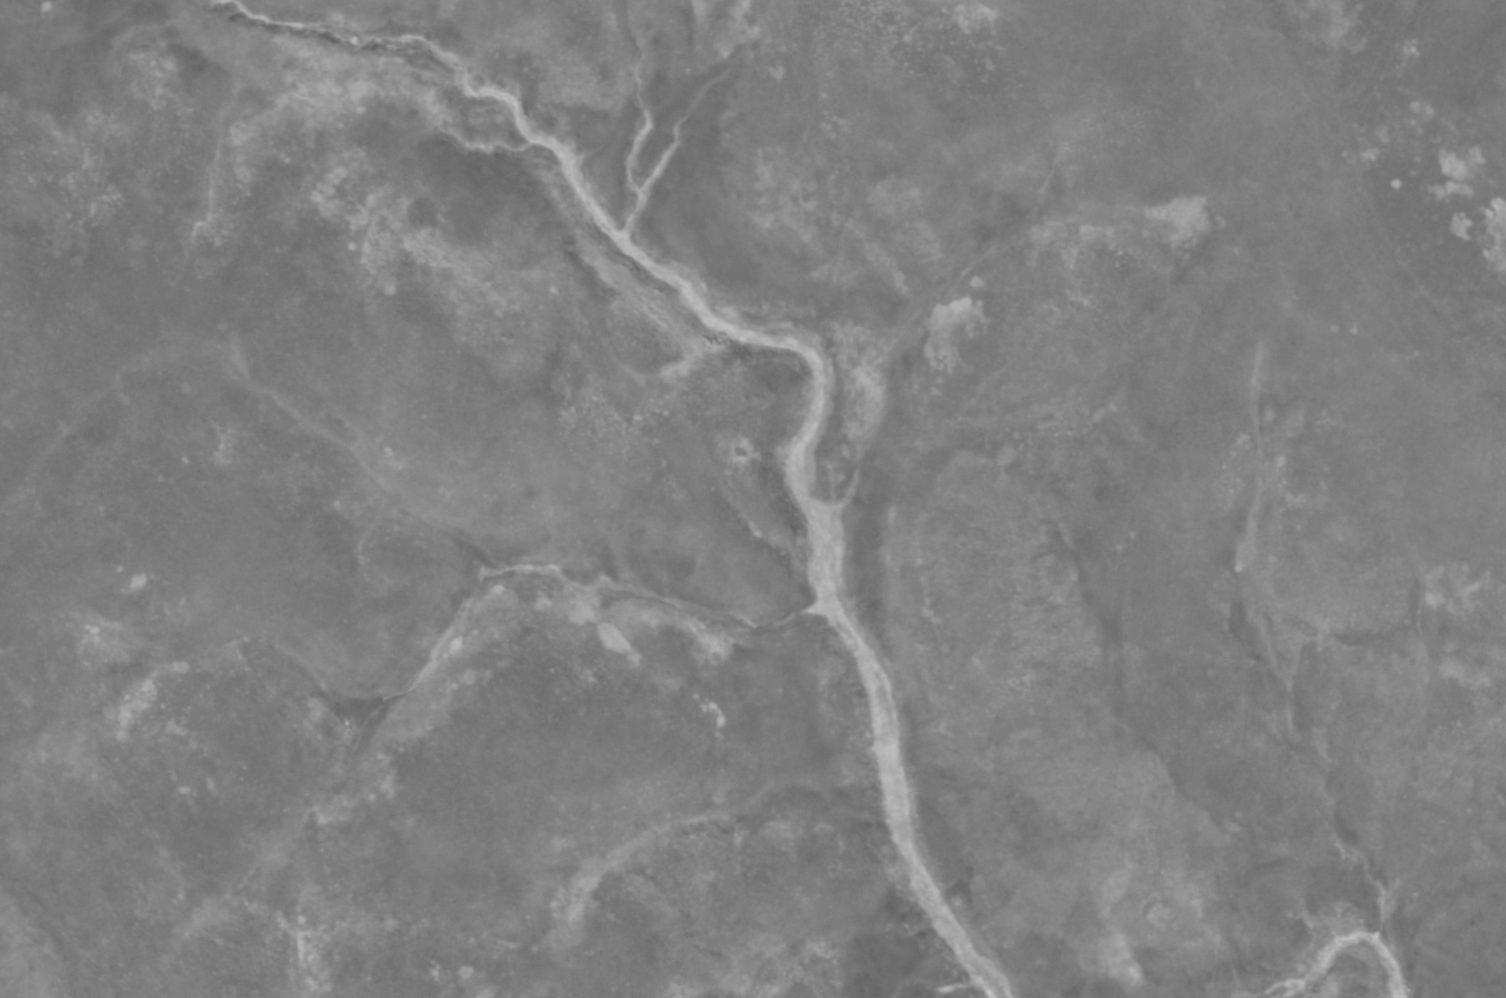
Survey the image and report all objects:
road: (78, 932)

